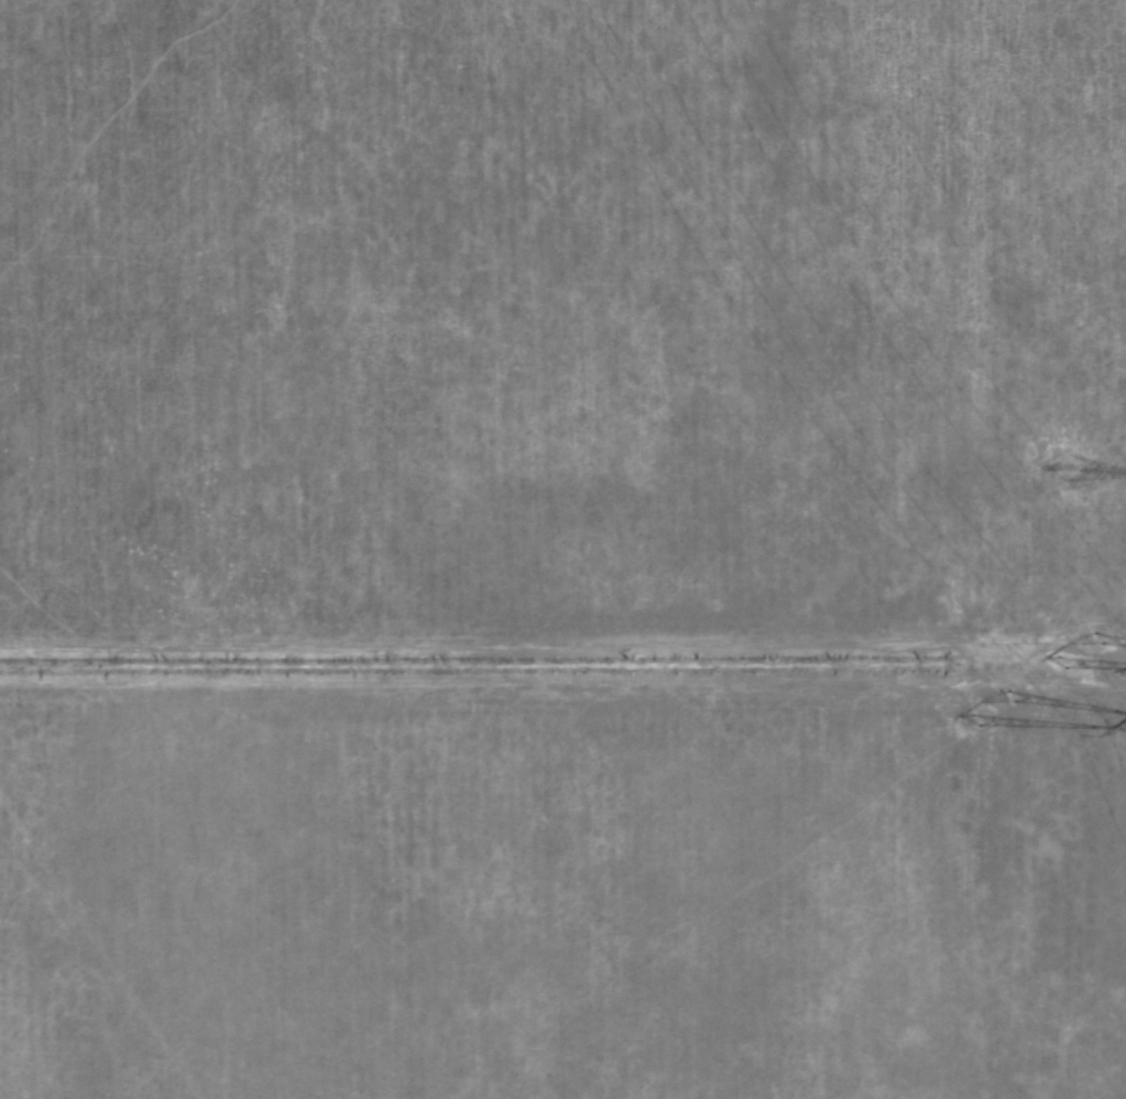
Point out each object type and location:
power tower: (1076, 476)
power tower: (1075, 645)
power tower: (1002, 717)
road: (106, 939)

